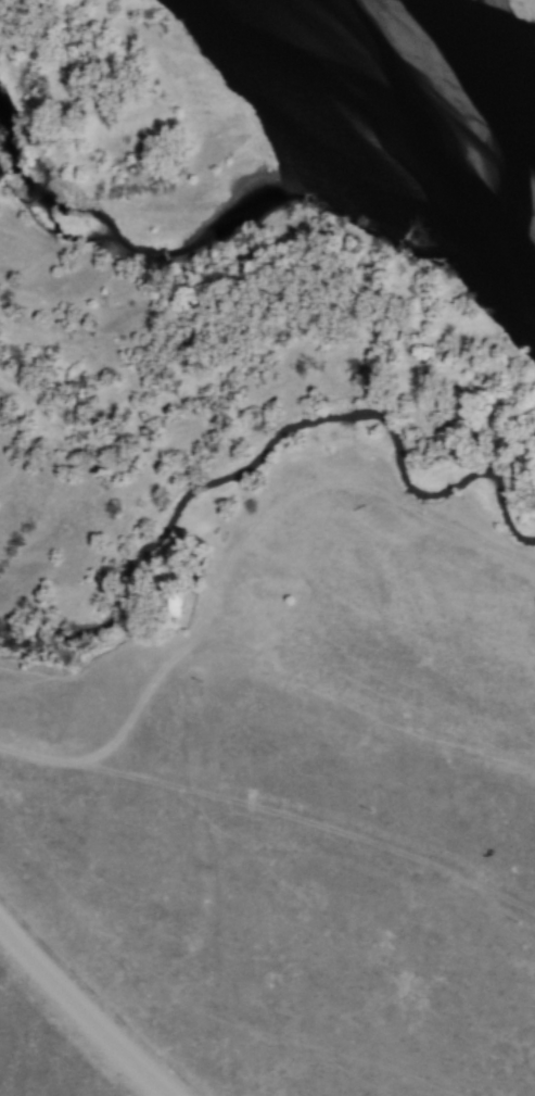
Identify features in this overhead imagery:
river: (407, 116)
road: (74, 1020)

